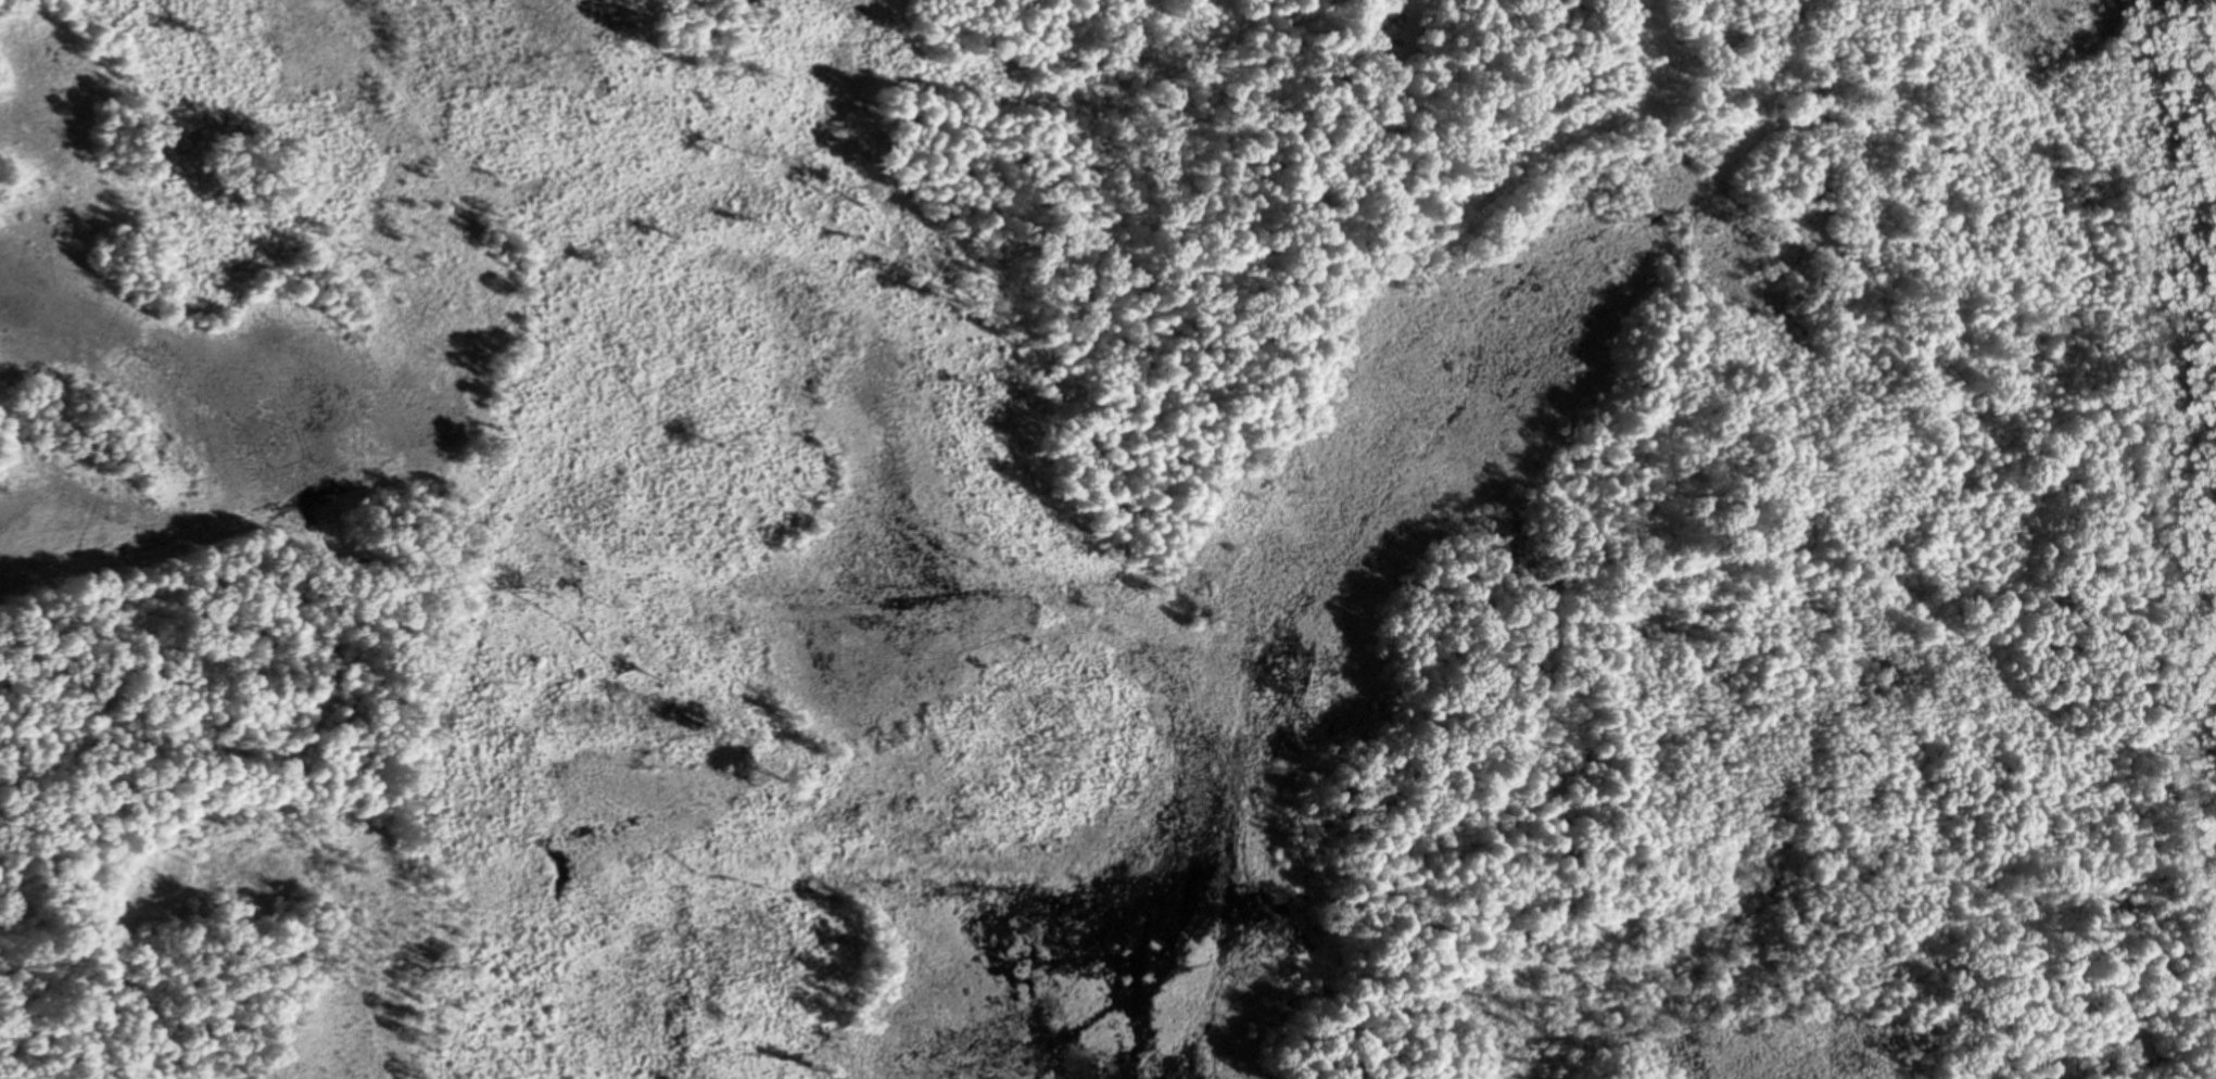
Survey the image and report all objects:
road: (2212, 1063)

